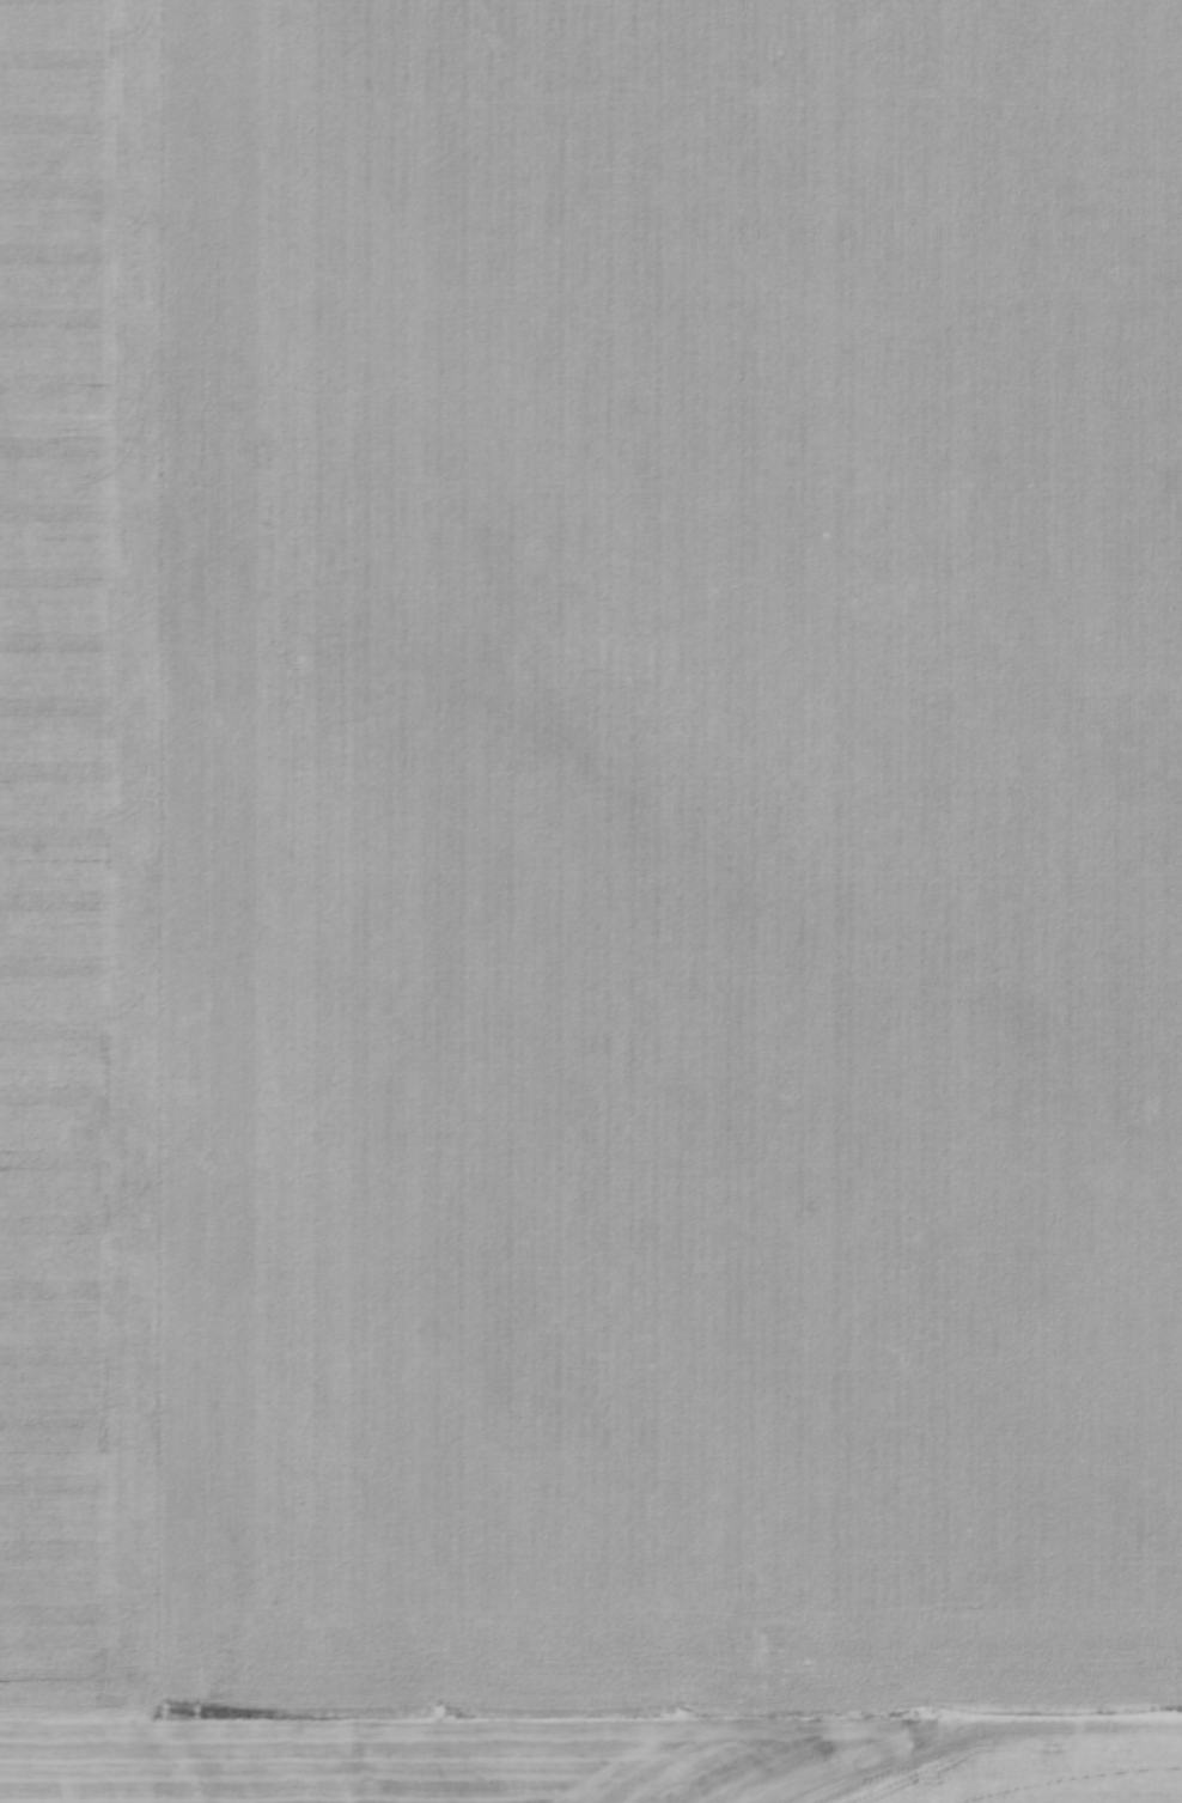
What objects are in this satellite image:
crop: (591, 901)

